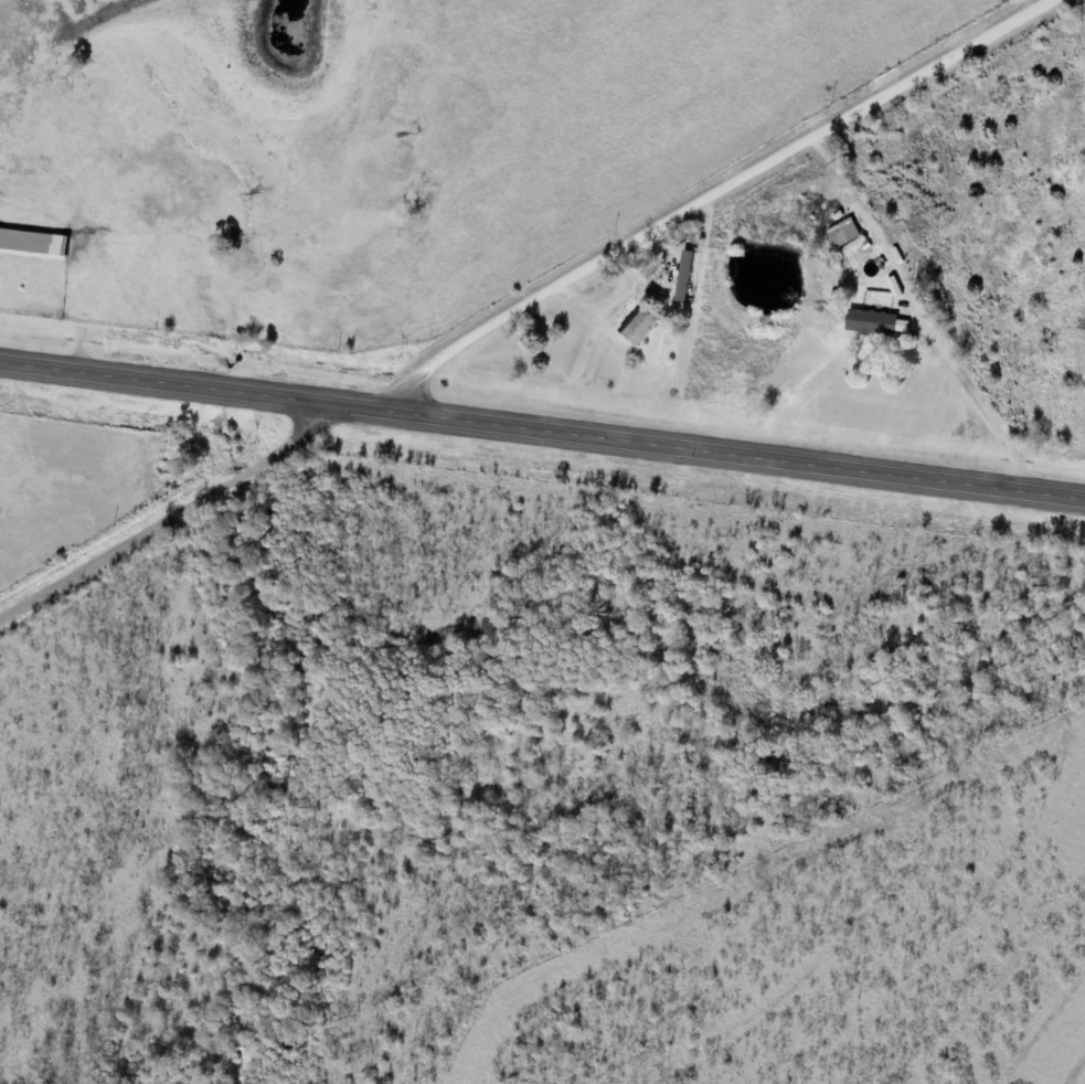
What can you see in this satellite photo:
road: (714, 199)
building: (845, 233)
building: (33, 242)
building: (685, 276)
building: (872, 323)
building: (640, 327)
road: (542, 431)
road: (184, 517)

